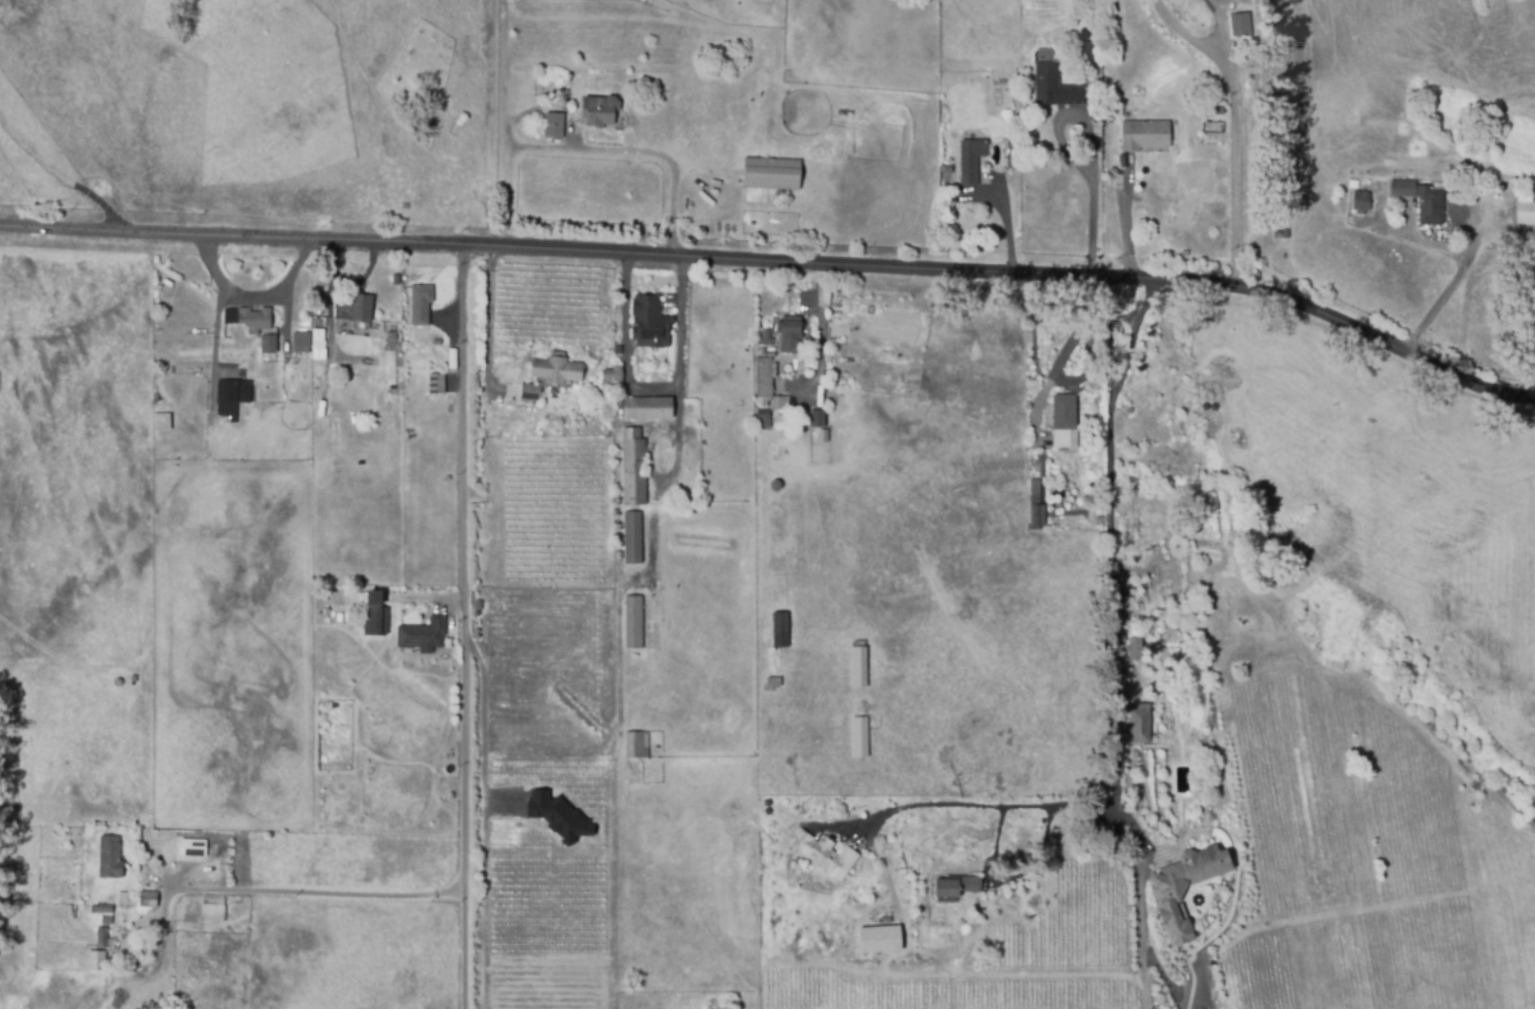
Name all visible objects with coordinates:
building: (1238, 24)
road: (1186, 35)
building: (1055, 85)
building: (599, 110)
building: (1125, 111)
building: (555, 125)
building: (1143, 135)
road: (1234, 141)
road: (1070, 154)
building: (973, 157)
road: (668, 161)
building: (771, 171)
road: (61, 177)
building: (1499, 182)
building: (1421, 200)
building: (1526, 200)
building: (1357, 202)
road: (1127, 227)
road: (1006, 229)
building: (1286, 233)
building: (156, 260)
road: (778, 264)
building: (168, 283)
road: (1448, 290)
road: (255, 295)
building: (423, 305)
building: (348, 308)
building: (249, 320)
building: (650, 322)
building: (158, 329)
building: (788, 333)
building: (302, 339)
building: (765, 339)
building: (438, 342)
road: (819, 342)
building: (317, 344)
building: (268, 345)
building: (556, 367)
road: (1057, 367)
building: (613, 372)
building: (763, 378)
building: (438, 384)
road: (655, 391)
building: (531, 392)
building: (231, 398)
building: (780, 403)
building: (648, 408)
building: (764, 419)
building: (816, 419)
building: (1069, 419)
building: (162, 422)
building: (633, 465)
building: (1037, 506)
building: (633, 537)
building: (375, 615)
building: (635, 621)
road: (464, 628)
building: (779, 630)
road: (1107, 630)
building: (429, 638)
building: (1132, 645)
building: (860, 665)
building: (134, 683)
building: (772, 683)
building: (1139, 722)
building: (860, 738)
building: (636, 745)
road: (988, 802)
building: (558, 817)
building: (827, 853)
building: (110, 861)
building: (958, 886)
building: (1185, 887)
road: (320, 893)
building: (123, 902)
building: (149, 902)
building: (215, 902)
building: (102, 908)
building: (84, 912)
building: (104, 913)
building: (106, 923)
building: (878, 939)
building: (103, 942)
building: (97, 964)
road: (1144, 993)

